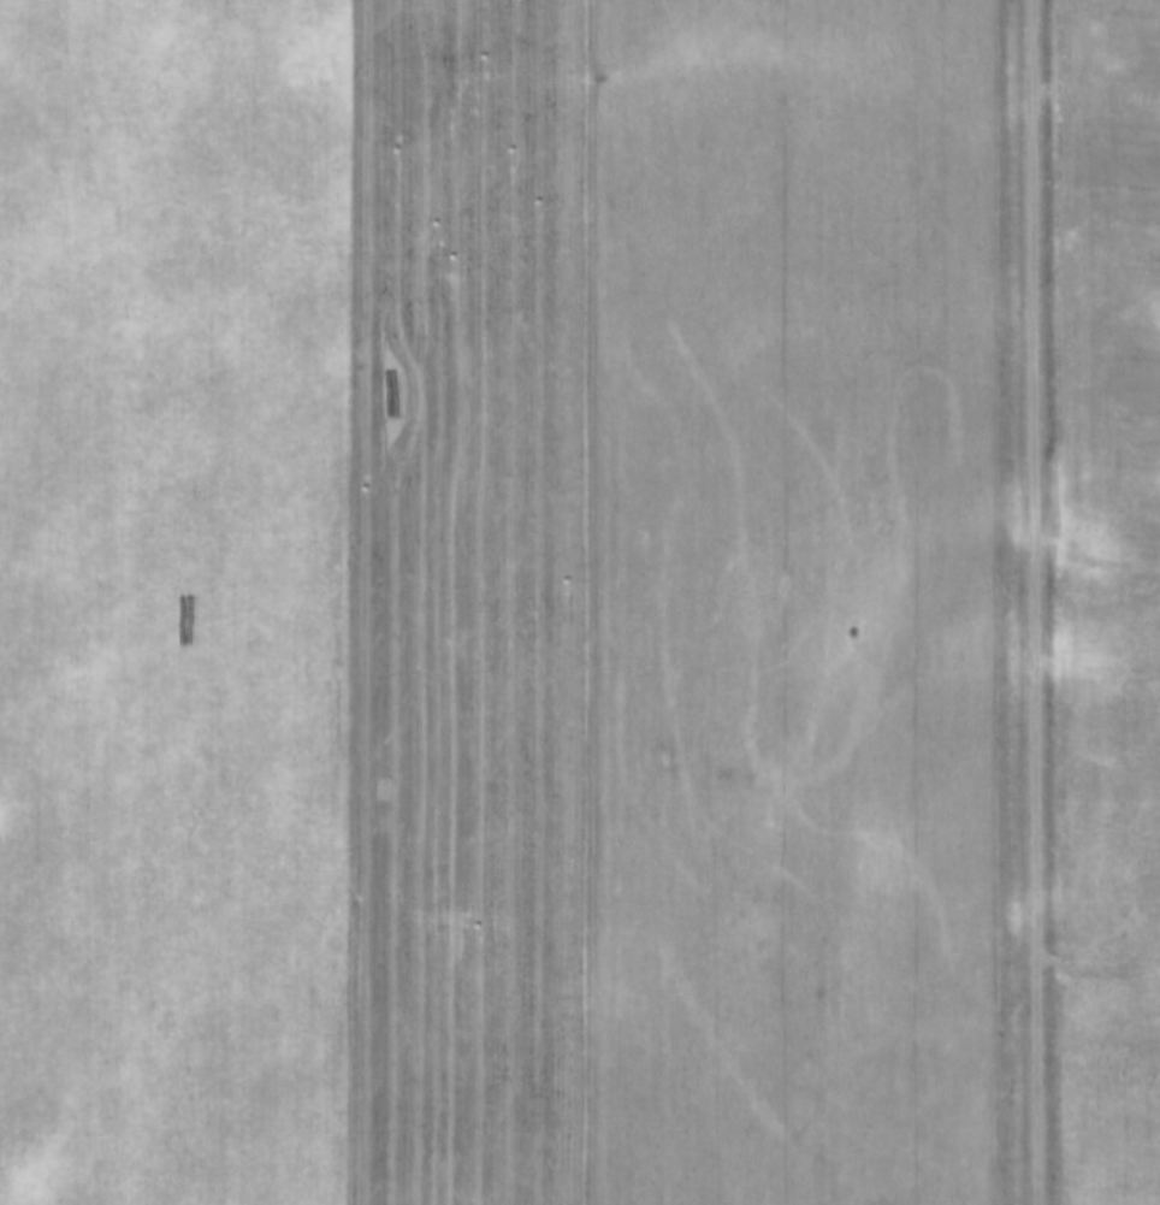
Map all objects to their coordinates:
road: (1035, 602)

